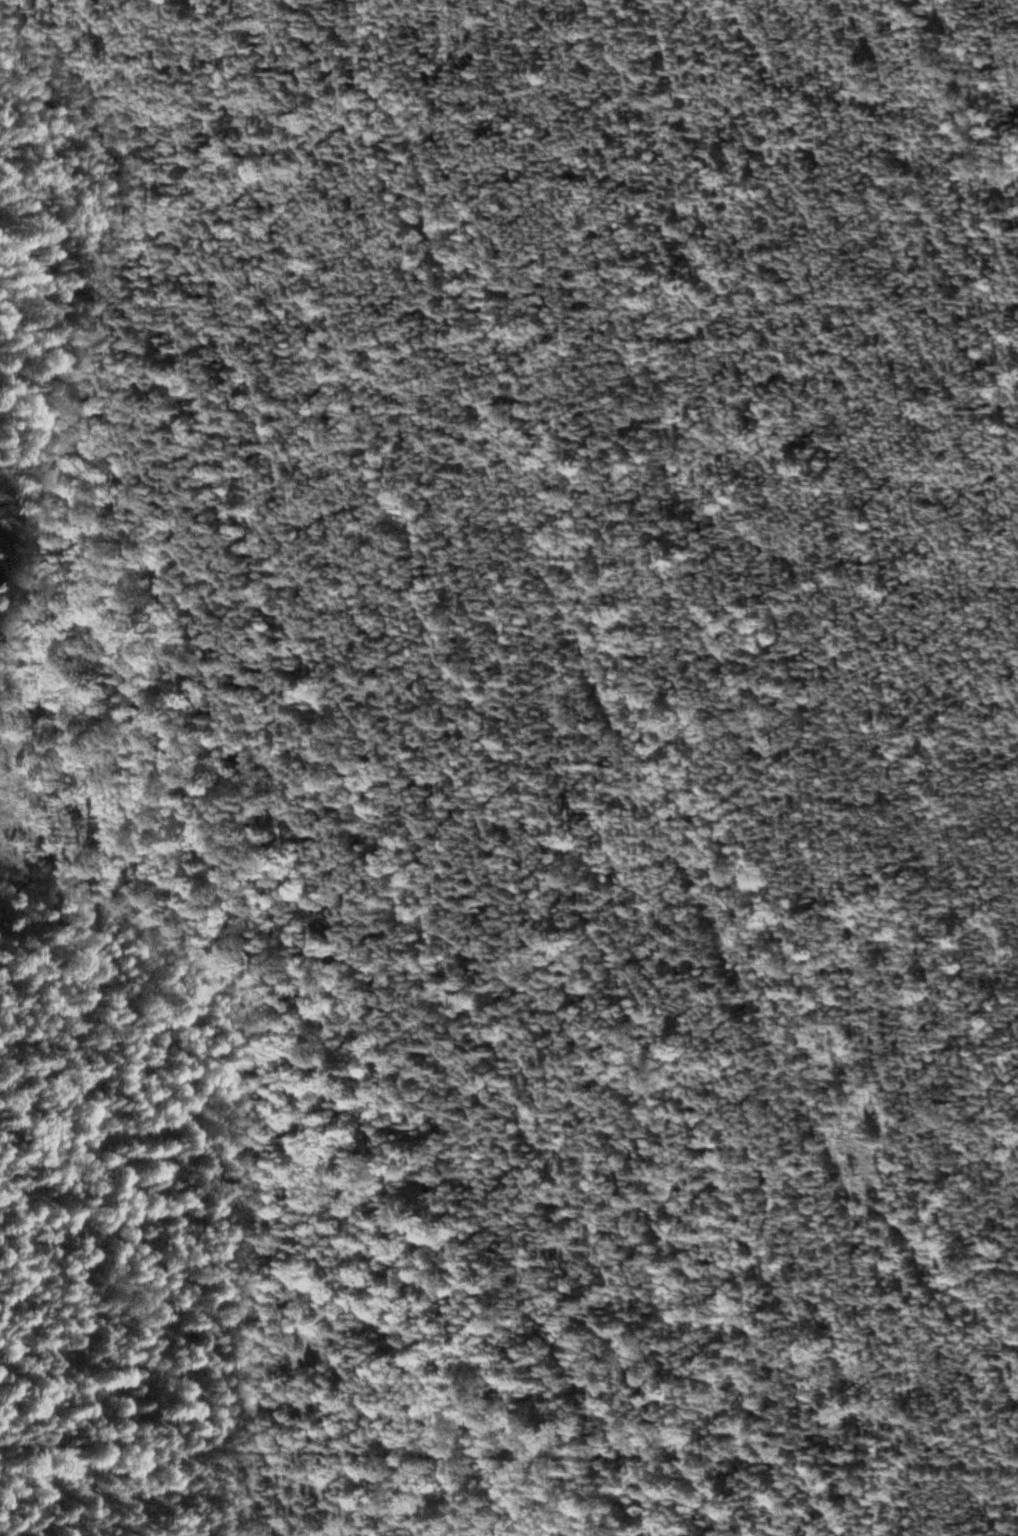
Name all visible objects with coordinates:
road: (270, 1451)

